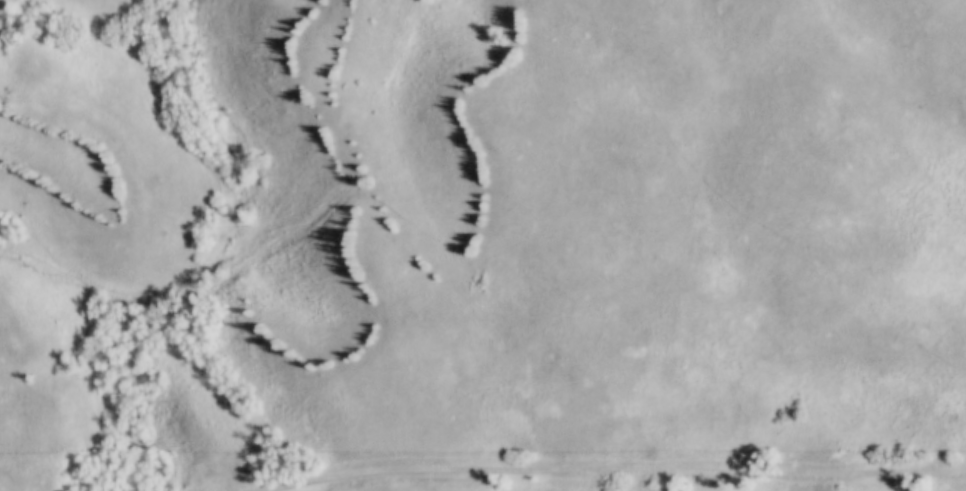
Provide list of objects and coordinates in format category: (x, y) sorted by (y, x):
road: (604, 459)
road: (2, 488)

